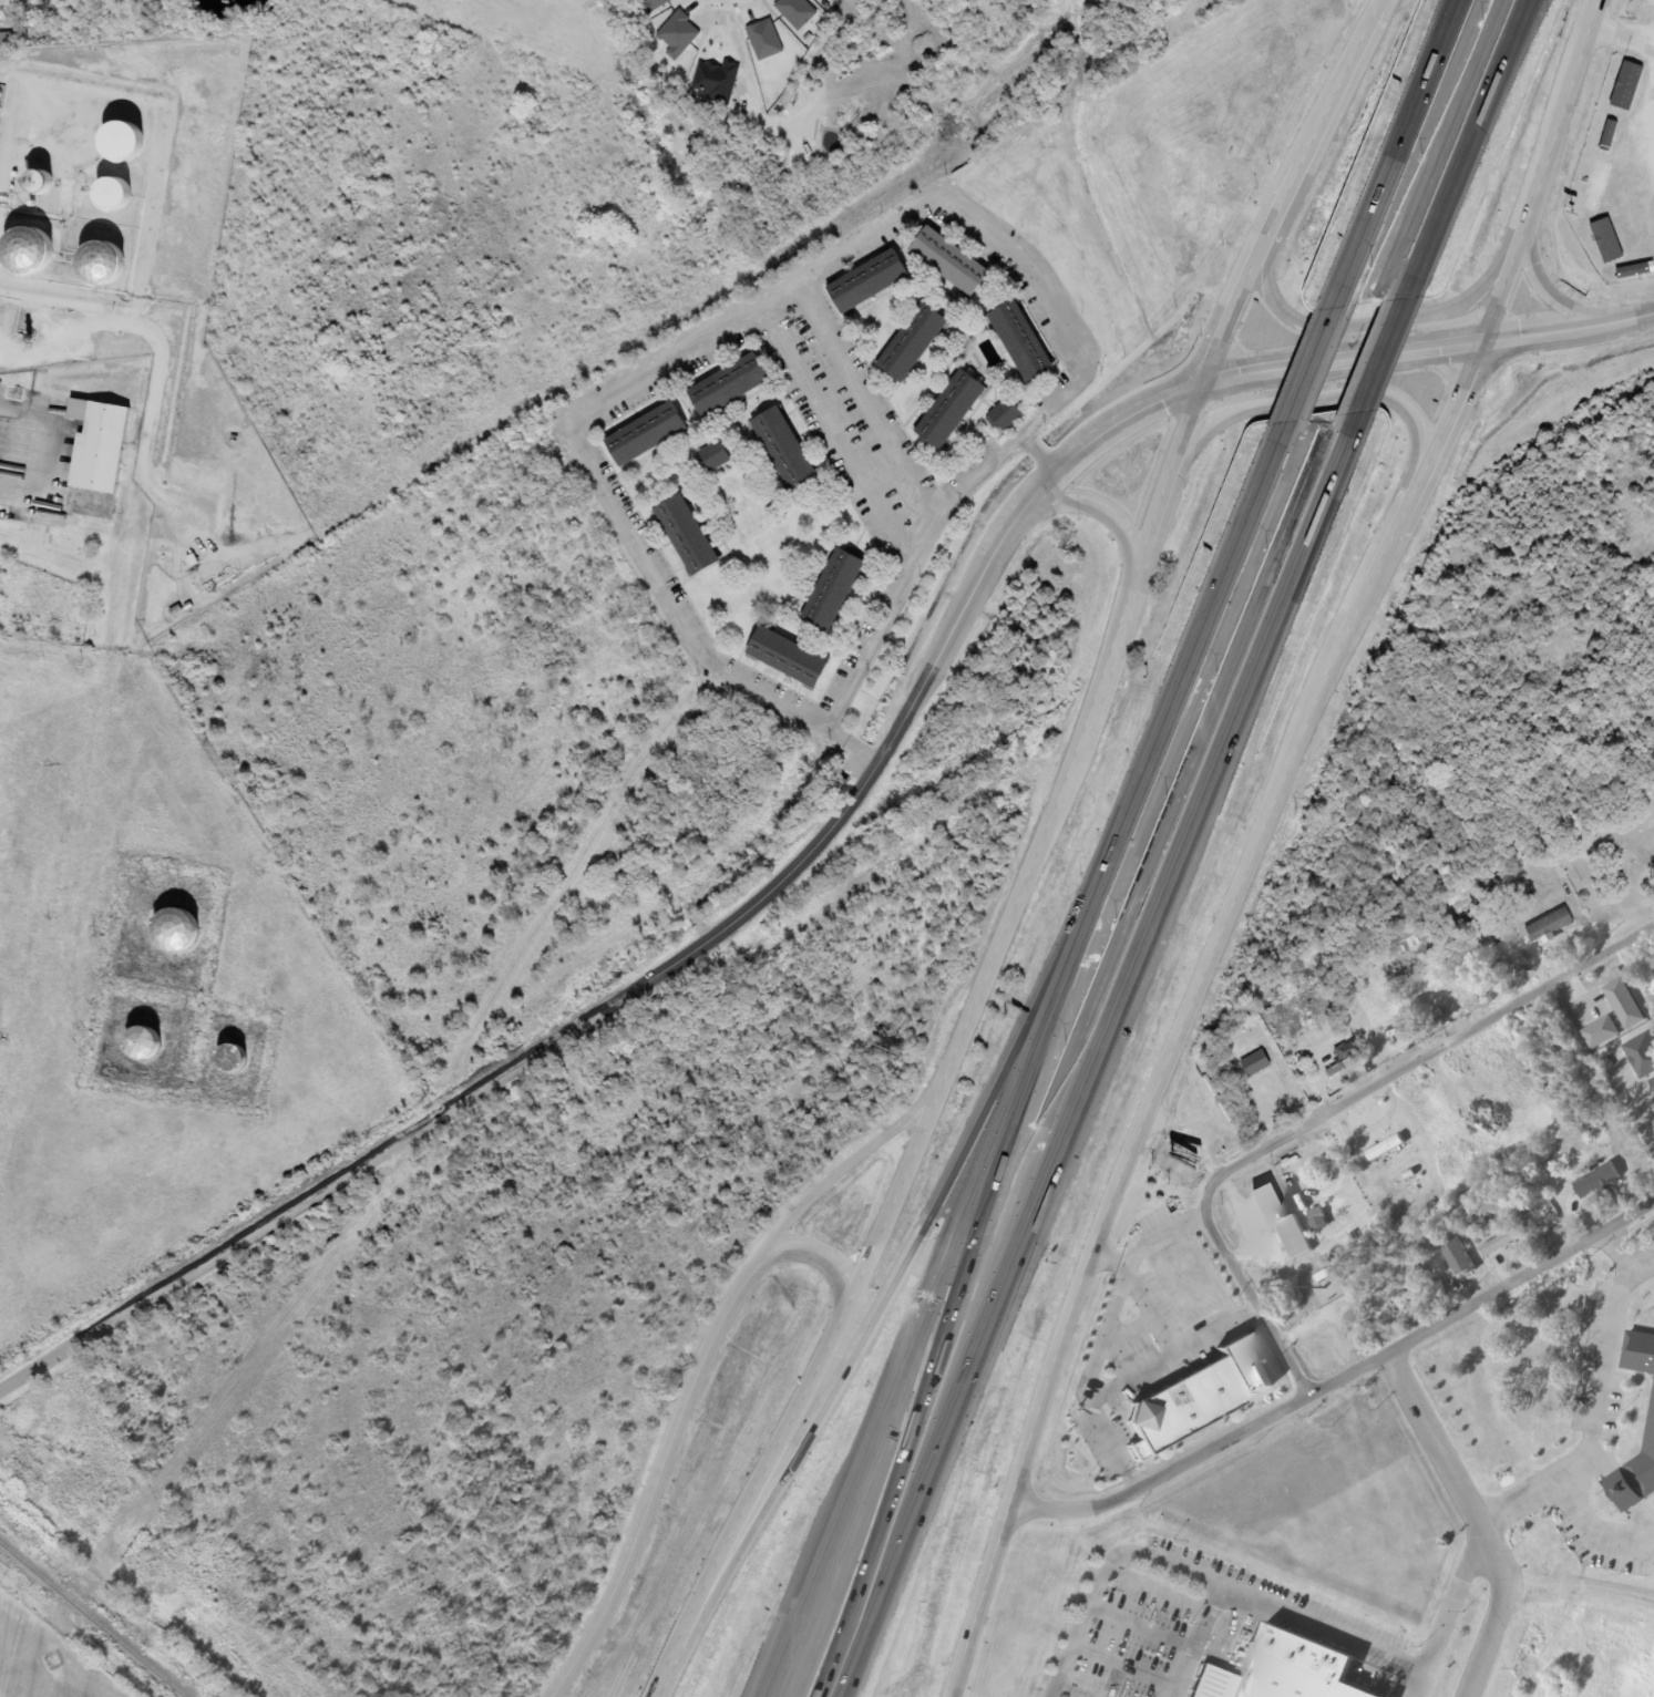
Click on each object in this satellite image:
road: (1461, 2)
building: (1646, 4)
building: (39, 34)
road: (1497, 80)
building: (1623, 89)
building: (1606, 141)
building: (119, 143)
road: (1460, 148)
road: (1399, 154)
building: (1183, 181)
building: (37, 182)
building: (111, 193)
building: (1641, 225)
building: (1596, 248)
building: (25, 249)
building: (948, 260)
building: (100, 265)
building: (866, 280)
road: (1558, 295)
road: (1298, 319)
building: (1019, 340)
building: (911, 342)
road: (1377, 354)
road: (1312, 369)
building: (727, 384)
building: (949, 409)
building: (1004, 414)
building: (645, 433)
road: (1416, 443)
building: (97, 444)
building: (782, 446)
building: (713, 455)
road: (1117, 524)
building: (686, 534)
building: (832, 589)
road: (1194, 651)
building: (785, 657)
road: (844, 810)
road: (1259, 841)
road: (1034, 855)
building: (1549, 925)
building: (174, 930)
building: (1405, 940)
building: (1309, 1019)
building: (141, 1045)
road: (1090, 1053)
building: (1345, 1058)
building: (230, 1059)
road: (1420, 1059)
building: (1255, 1063)
building: (1598, 1182)
road: (795, 1211)
building: (1294, 1238)
building: (1503, 1242)
building: (1458, 1258)
road: (935, 1285)
road: (890, 1290)
road: (1255, 1300)
building: (1638, 1354)
road: (1339, 1378)
building: (1180, 1408)
building: (1636, 1475)
road: (654, 1481)
road: (1476, 1519)
road: (1275, 1613)
road: (1449, 1614)
railway: (94, 1617)
building: (1294, 1668)

